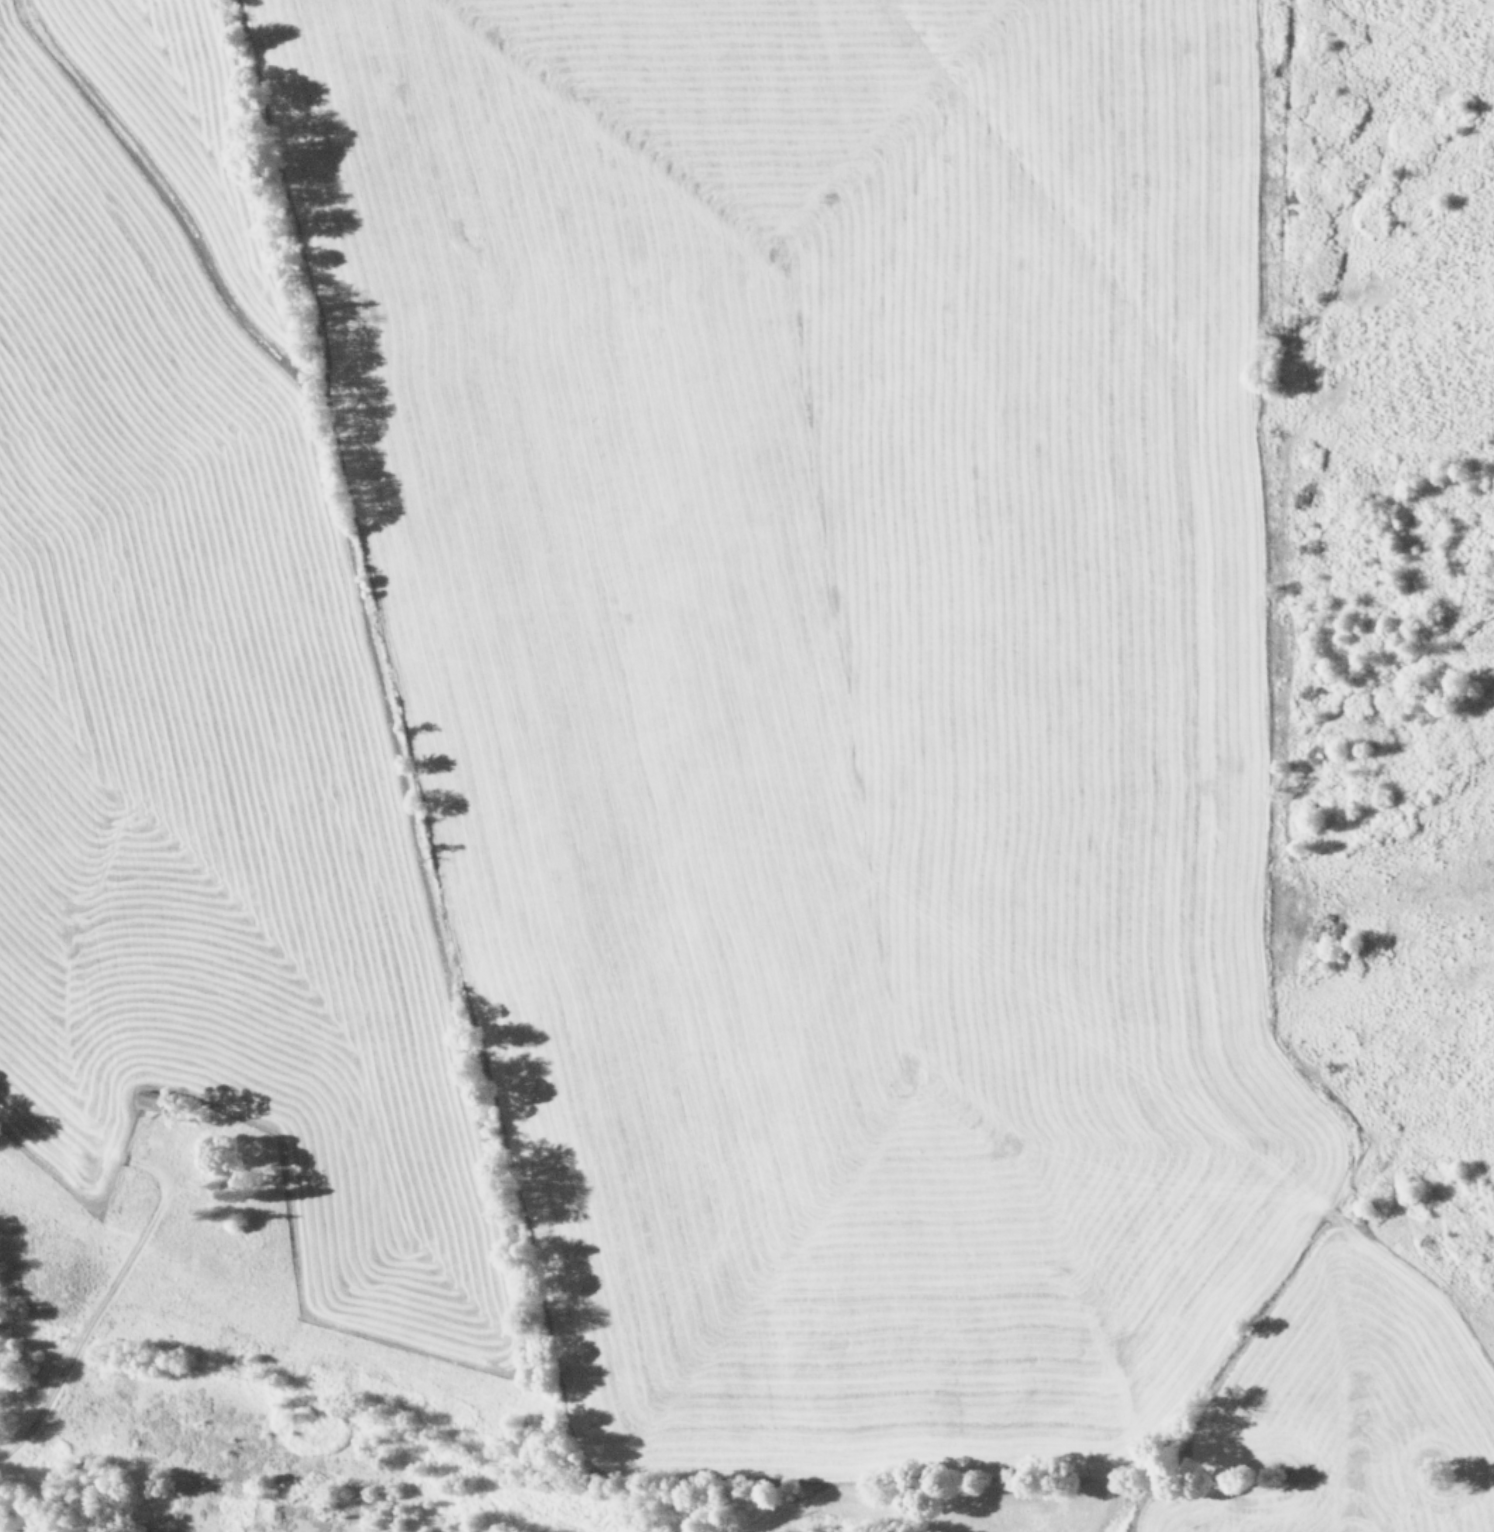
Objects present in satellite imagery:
crop: (661, 787)
building: (151, 1099)

